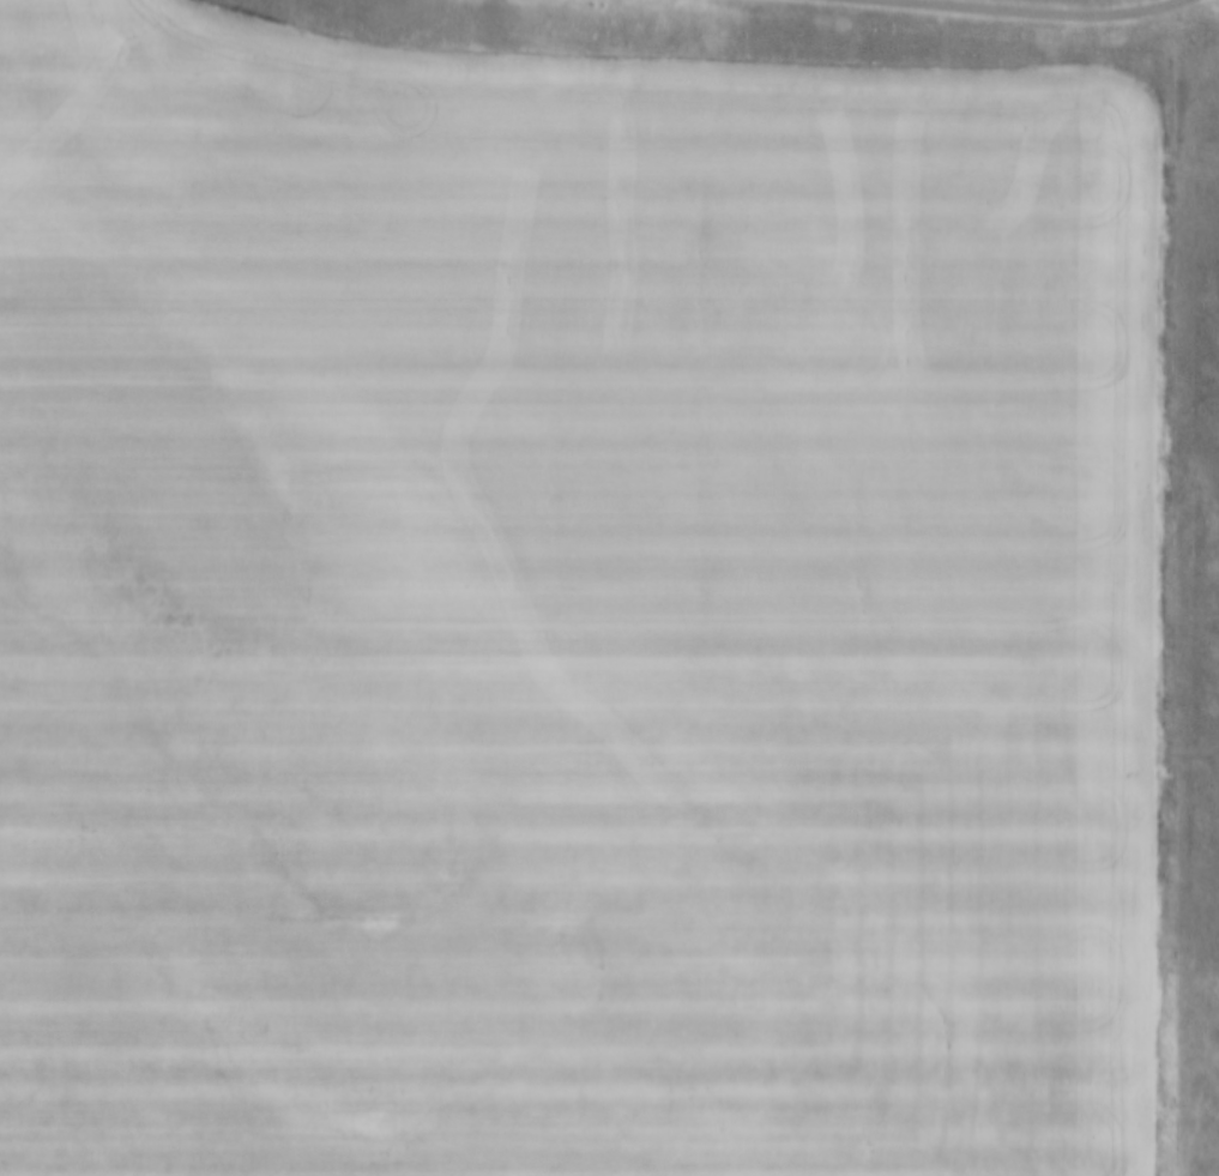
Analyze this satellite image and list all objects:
road: (1191, 30)

